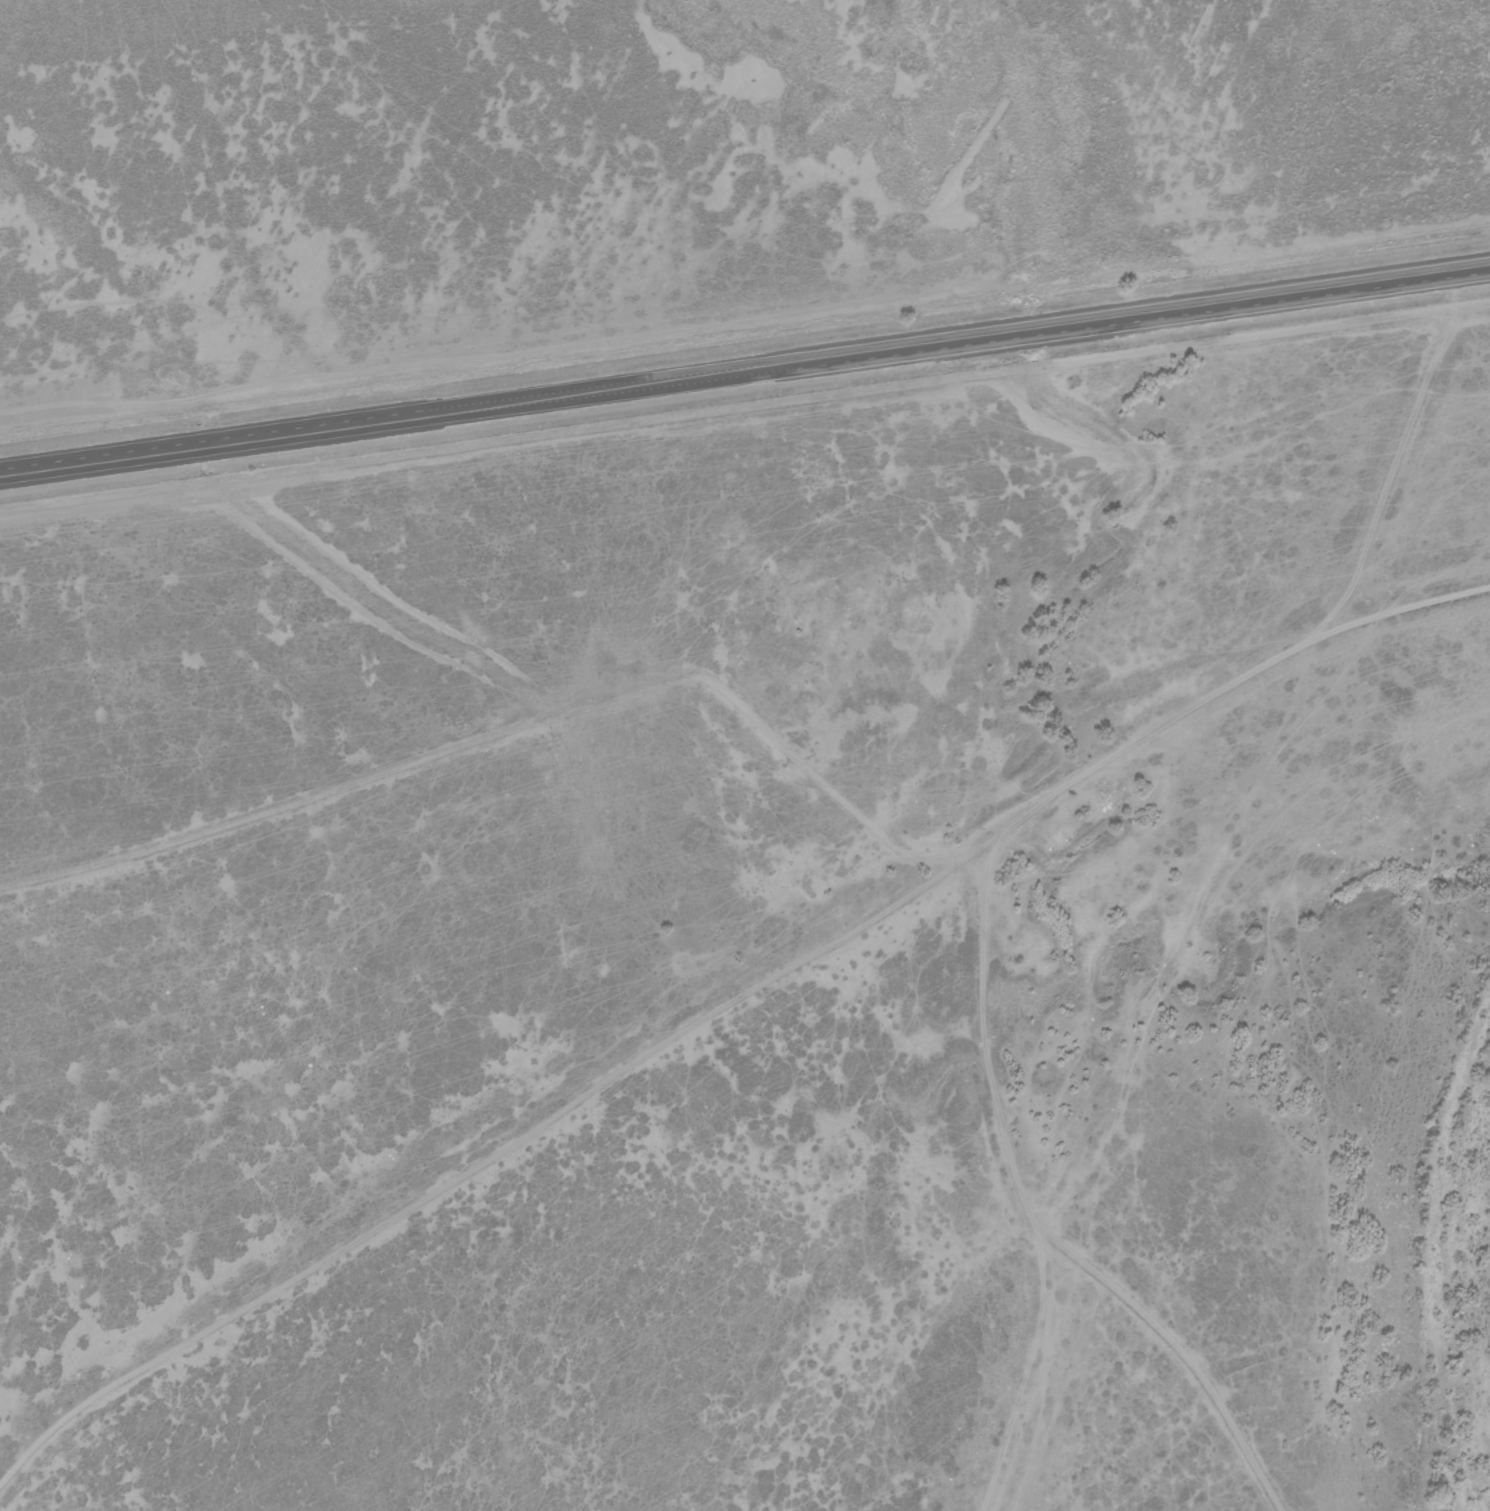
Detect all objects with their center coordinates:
road: (745, 328)
road: (744, 363)
road: (1402, 428)
road: (732, 995)
road: (1038, 1223)
river: (1439, 1254)

